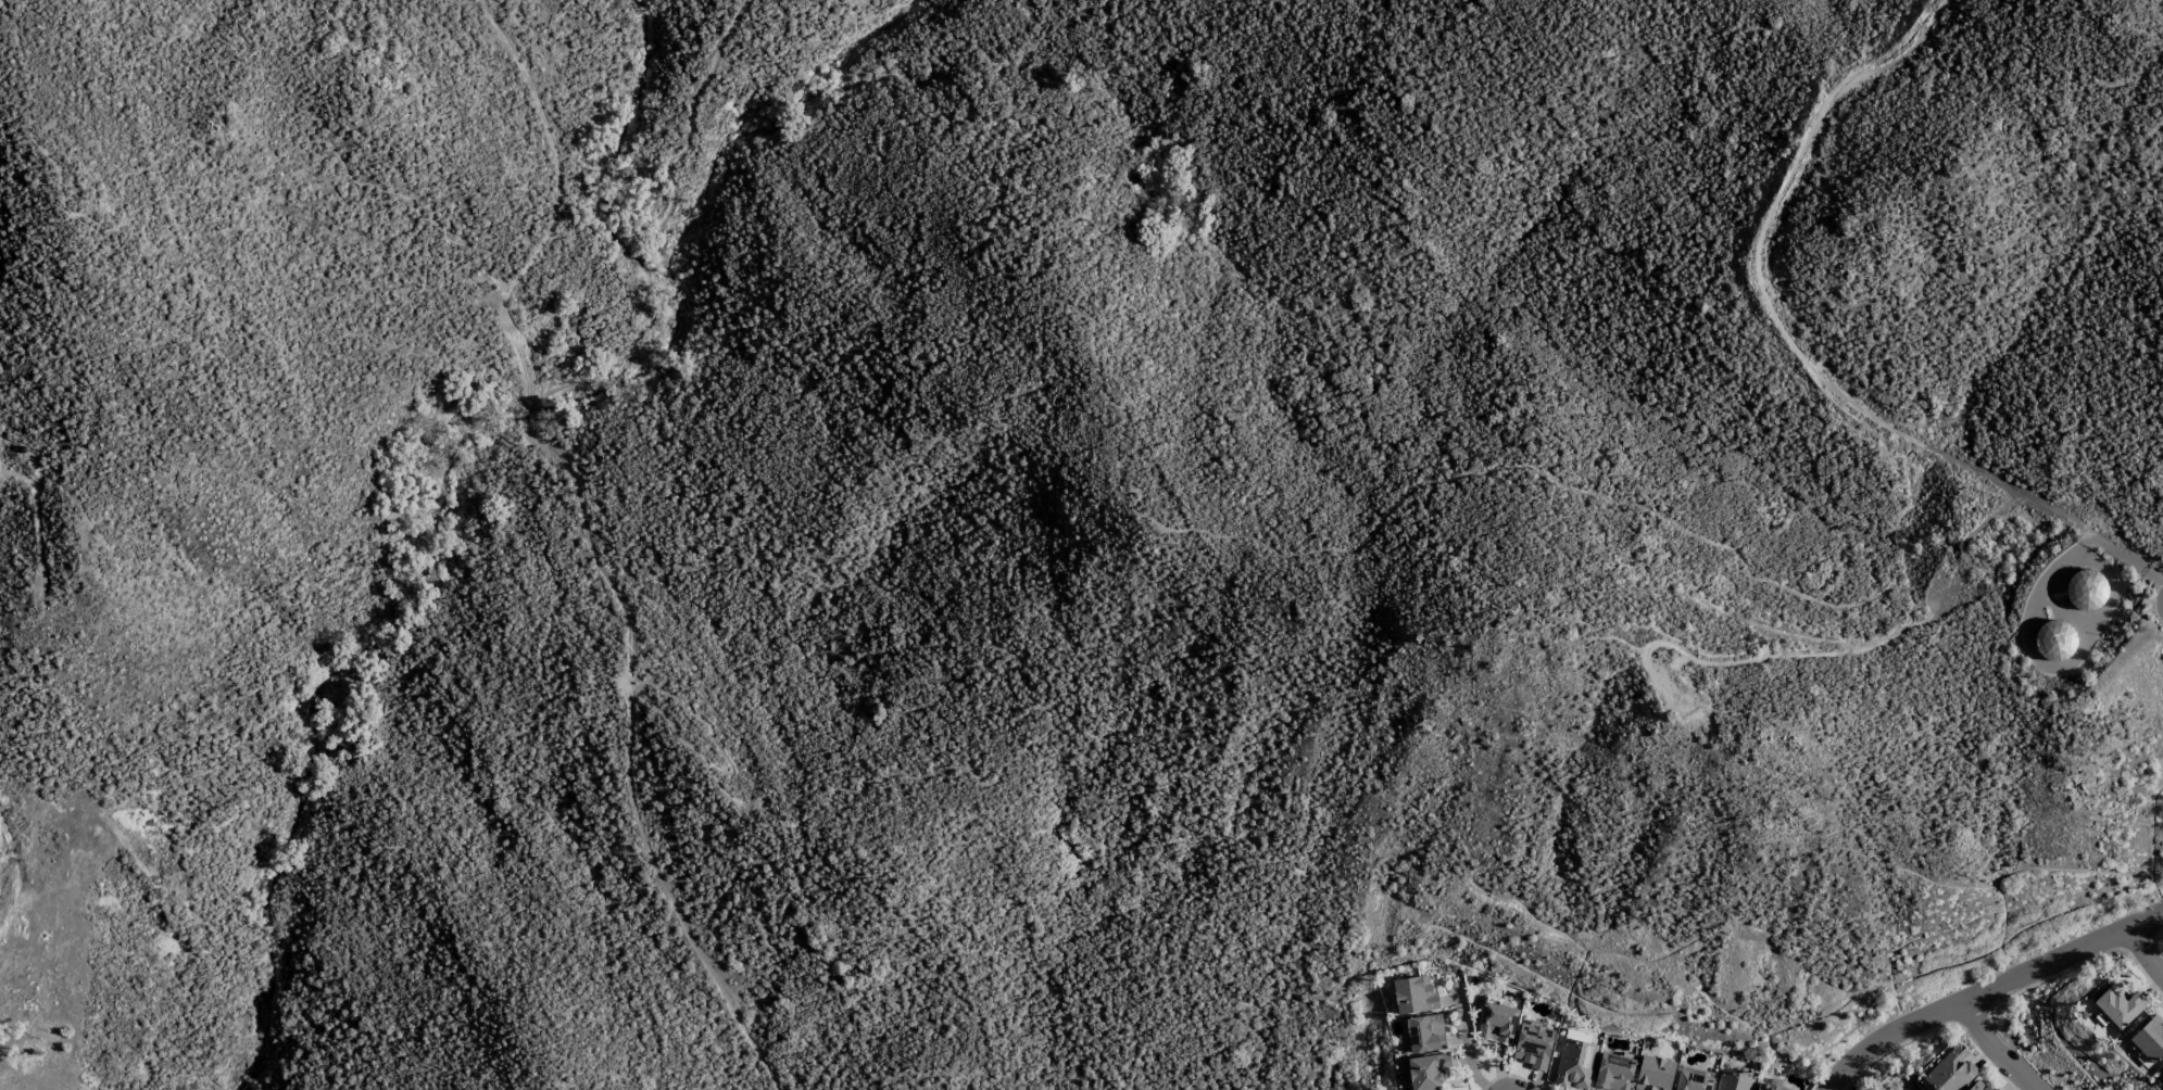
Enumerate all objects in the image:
road: (1769, 226)
road: (579, 509)
road: (2047, 509)
road: (2047, 581)
building: (2087, 590)
building: (2053, 639)
road: (1829, 654)
road: (2146, 952)
road: (1991, 993)
building: (1413, 996)
building: (2118, 1006)
building: (1496, 1023)
building: (1424, 1034)
building: (2149, 1039)
road: (1467, 1040)
building: (1533, 1045)
road: (1997, 1050)
building: (1574, 1062)
building: (2162, 1069)
building: (1950, 1070)
building: (1428, 1072)
building: (1613, 1073)
building: (1653, 1074)
building: (1692, 1081)
building: (1733, 1081)
building: (1979, 1086)
building: (1766, 1087)

